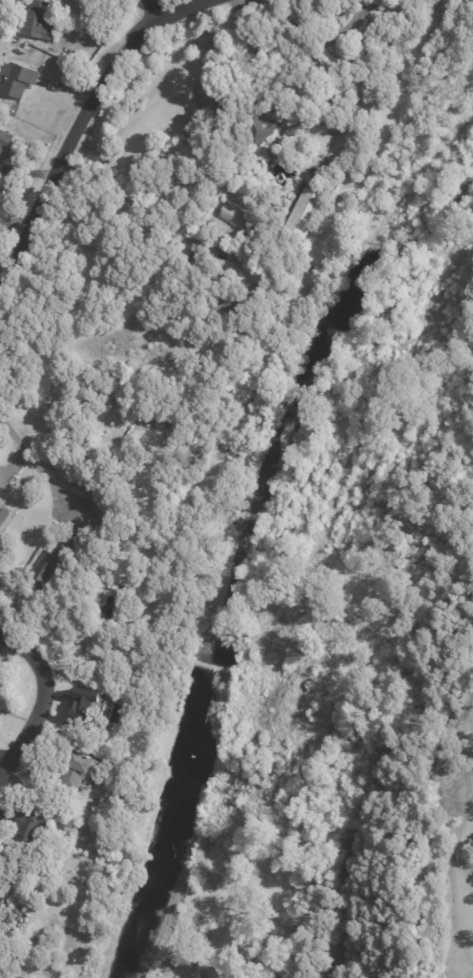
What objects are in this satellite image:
road: (162, 7)
building: (40, 20)
road: (288, 48)
building: (18, 79)
building: (354, 85)
building: (341, 103)
building: (264, 125)
road: (81, 130)
building: (6, 140)
building: (340, 163)
road: (137, 205)
building: (308, 211)
building: (185, 212)
building: (234, 216)
building: (249, 240)
building: (222, 292)
building: (136, 386)
building: (127, 403)
road: (34, 464)
building: (101, 486)
building: (199, 502)
building: (4, 515)
building: (77, 542)
building: (55, 565)
building: (80, 703)
road: (27, 709)
building: (79, 770)
building: (472, 802)
building: (32, 822)
building: (467, 823)
building: (0, 895)
building: (1, 905)
building: (14, 917)
building: (303, 951)
road: (329, 961)

